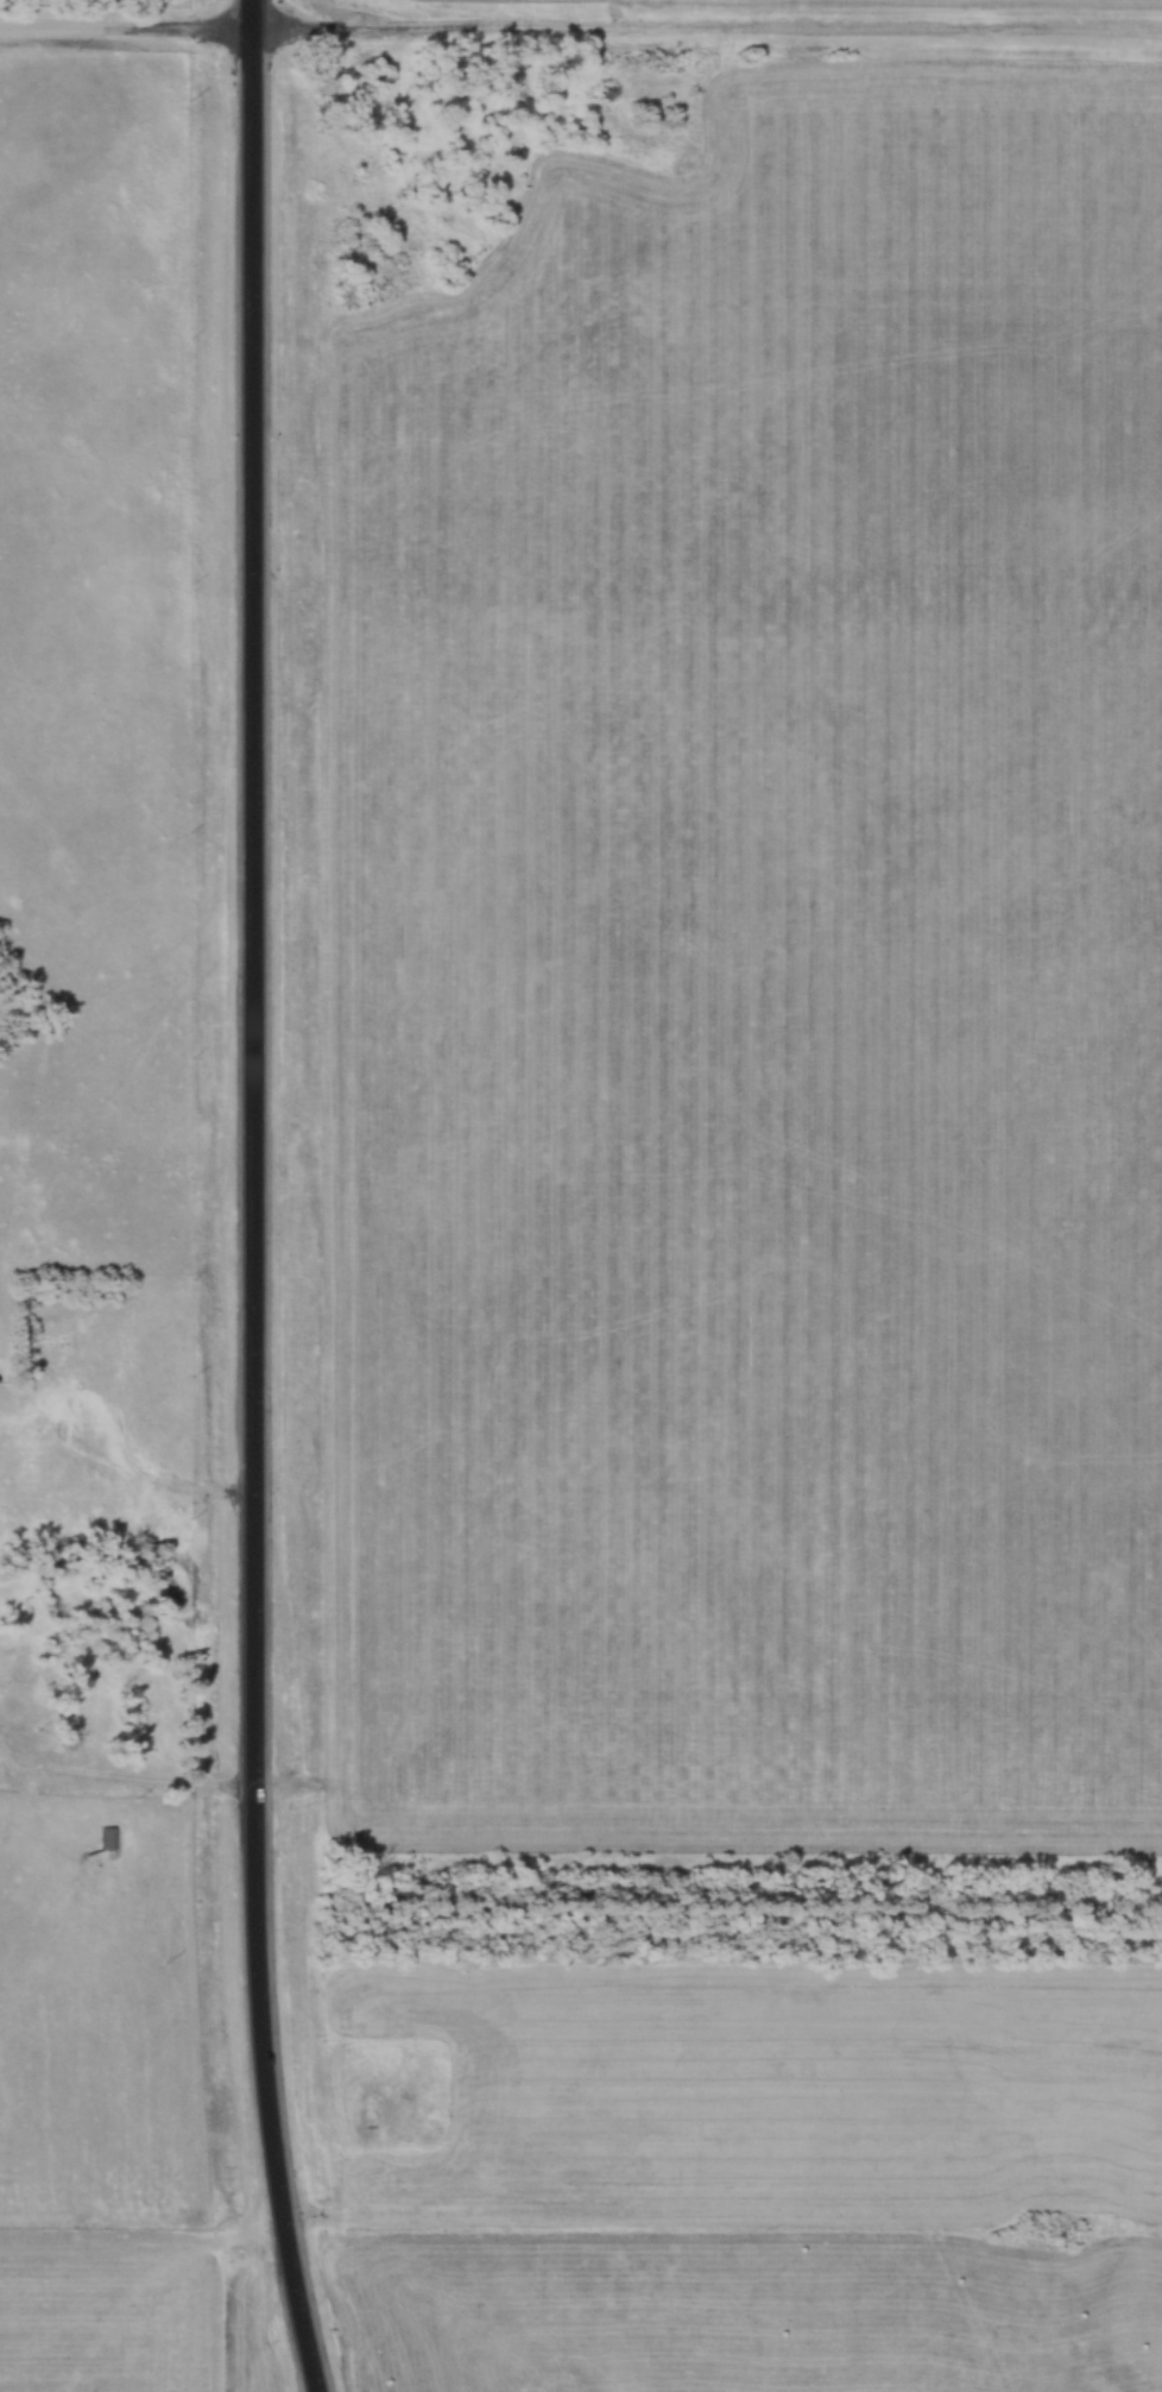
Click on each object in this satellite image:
road: (580, 38)
road: (251, 1198)
road: (110, 1474)
building: (88, 1712)
building: (134, 1739)
road: (114, 1784)
building: (105, 1840)
building: (367, 2111)

